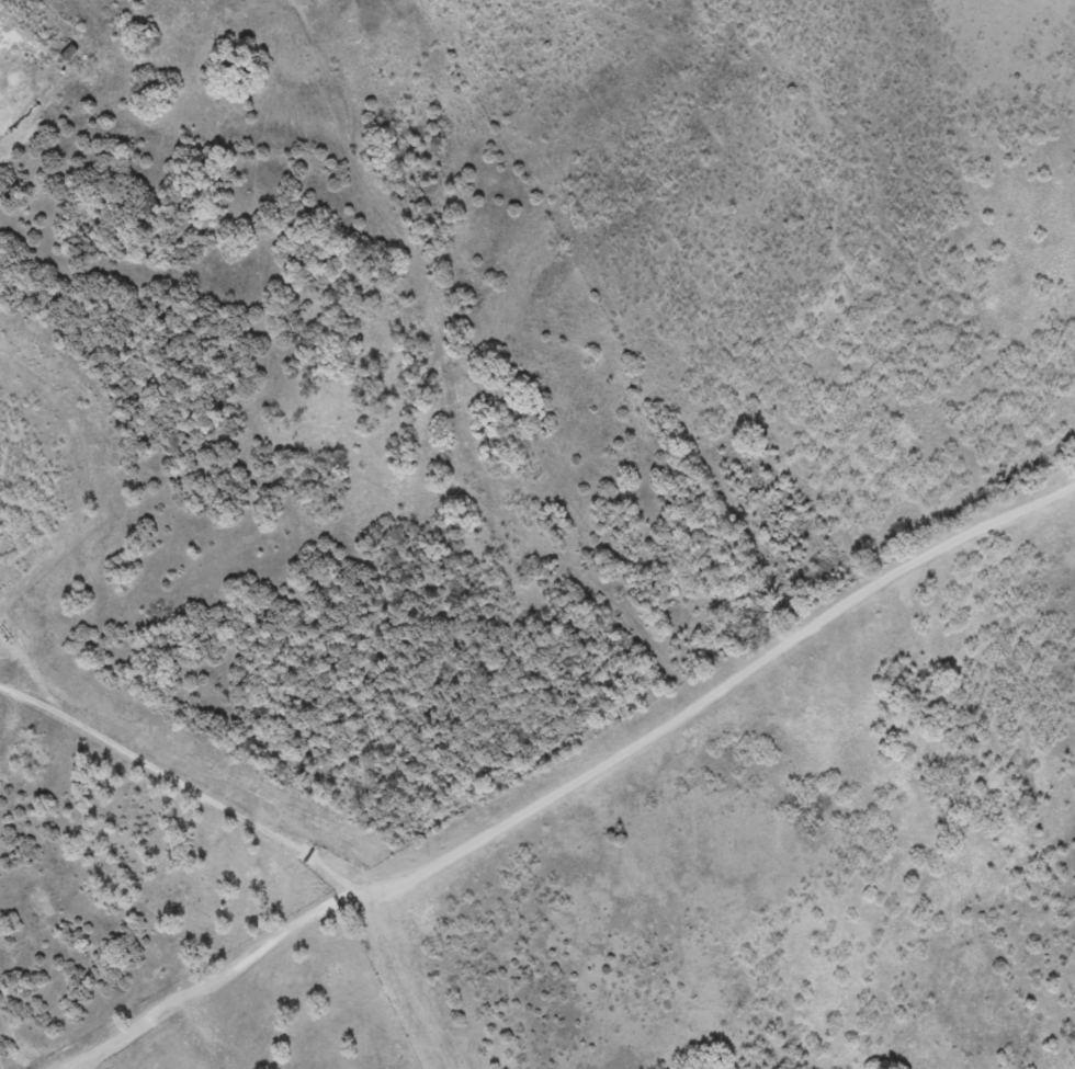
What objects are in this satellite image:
building: (46, 23)
road: (706, 695)
road: (172, 775)
road: (215, 974)

